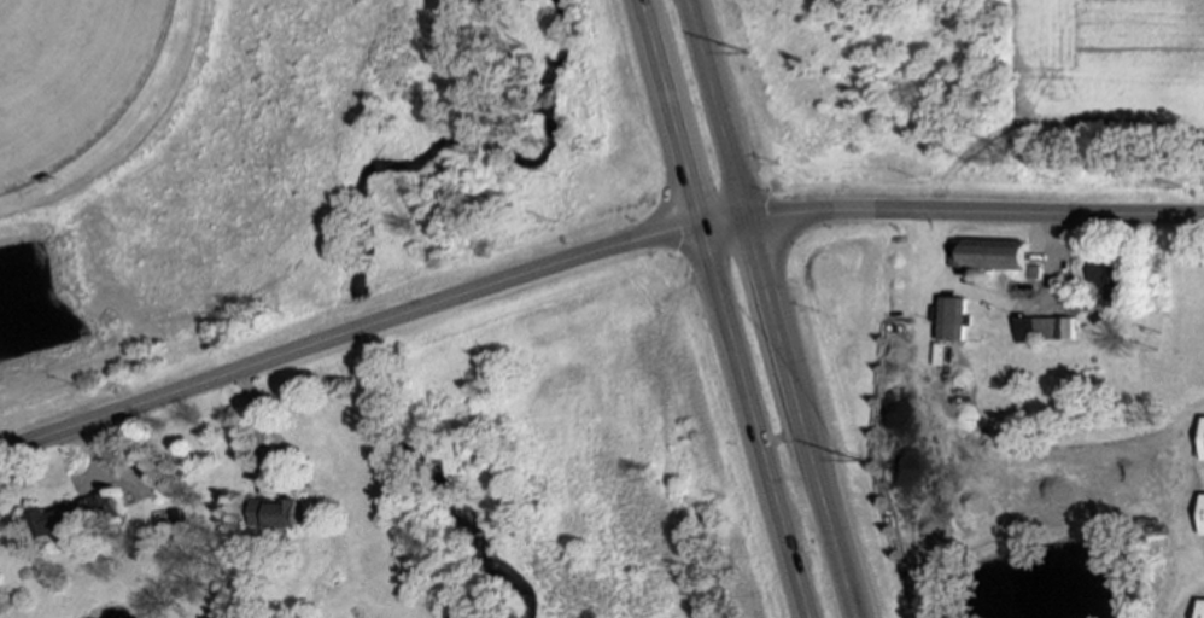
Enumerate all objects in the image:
power tower: (748, 56)
park: (288, 173)
building: (989, 253)
road: (588, 256)
building: (1109, 281)
road: (772, 308)
road: (726, 309)
building: (952, 317)
building: (1046, 330)
building: (1200, 448)
power tower: (865, 461)
road: (1191, 492)
building: (103, 506)
building: (276, 513)
building: (54, 520)
building: (1203, 521)
building: (72, 537)
road: (1181, 594)
building: (1202, 608)

